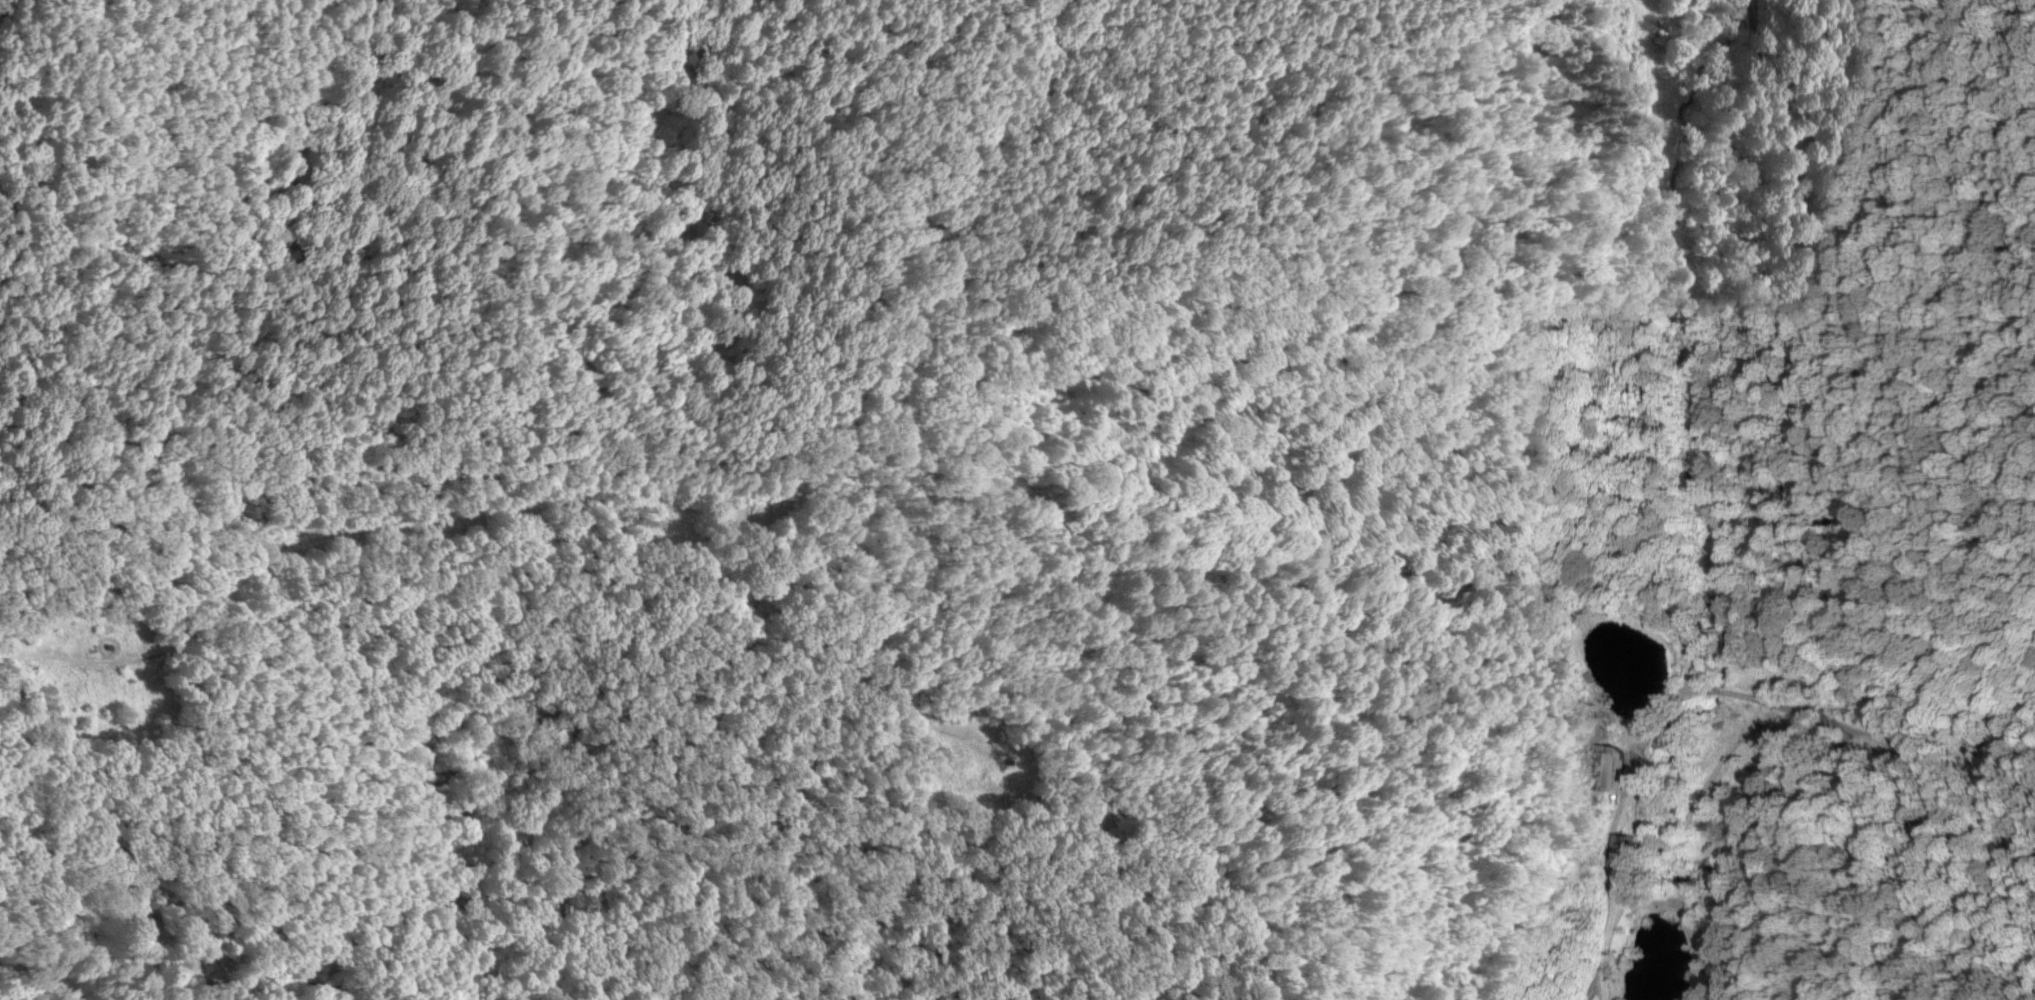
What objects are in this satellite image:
road: (1830, 502)
building: (1609, 768)
building: (1619, 851)

